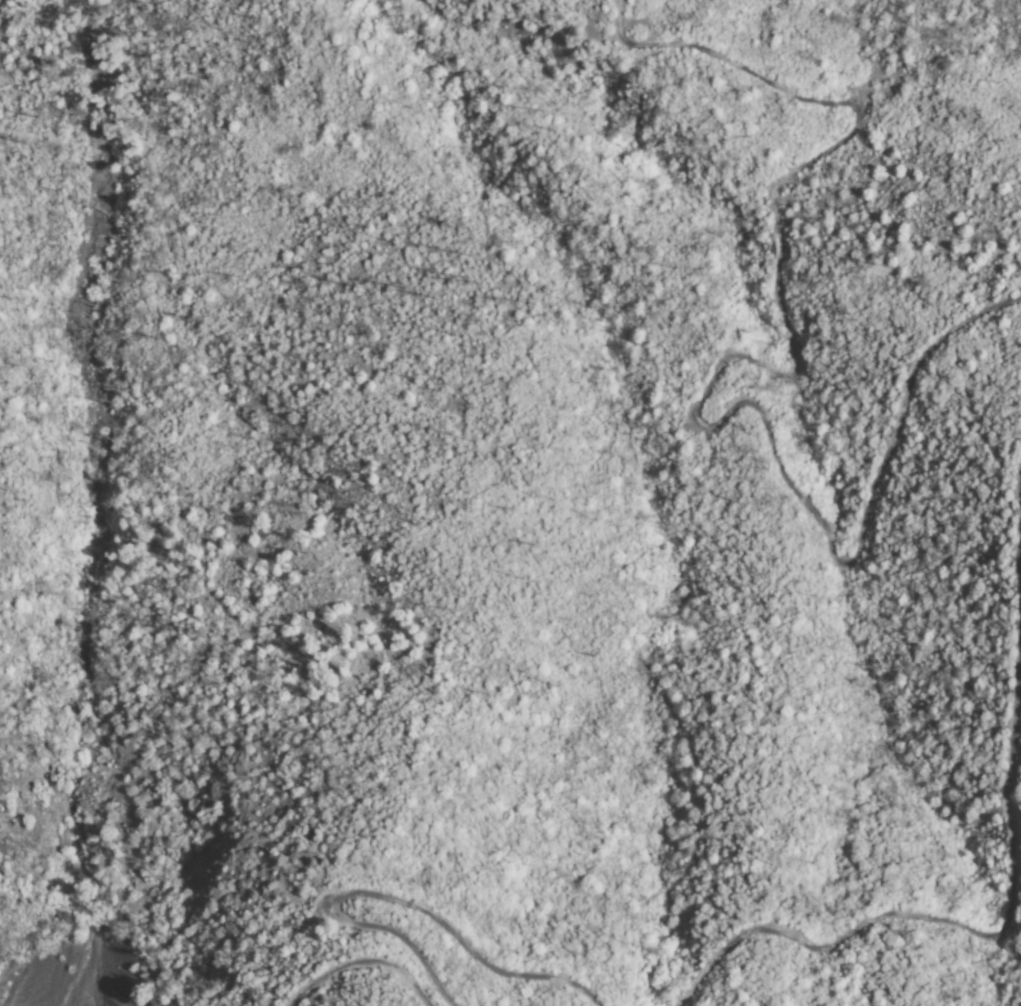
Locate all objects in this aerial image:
road: (728, 361)
road: (1013, 888)
road: (396, 900)
road: (363, 963)

